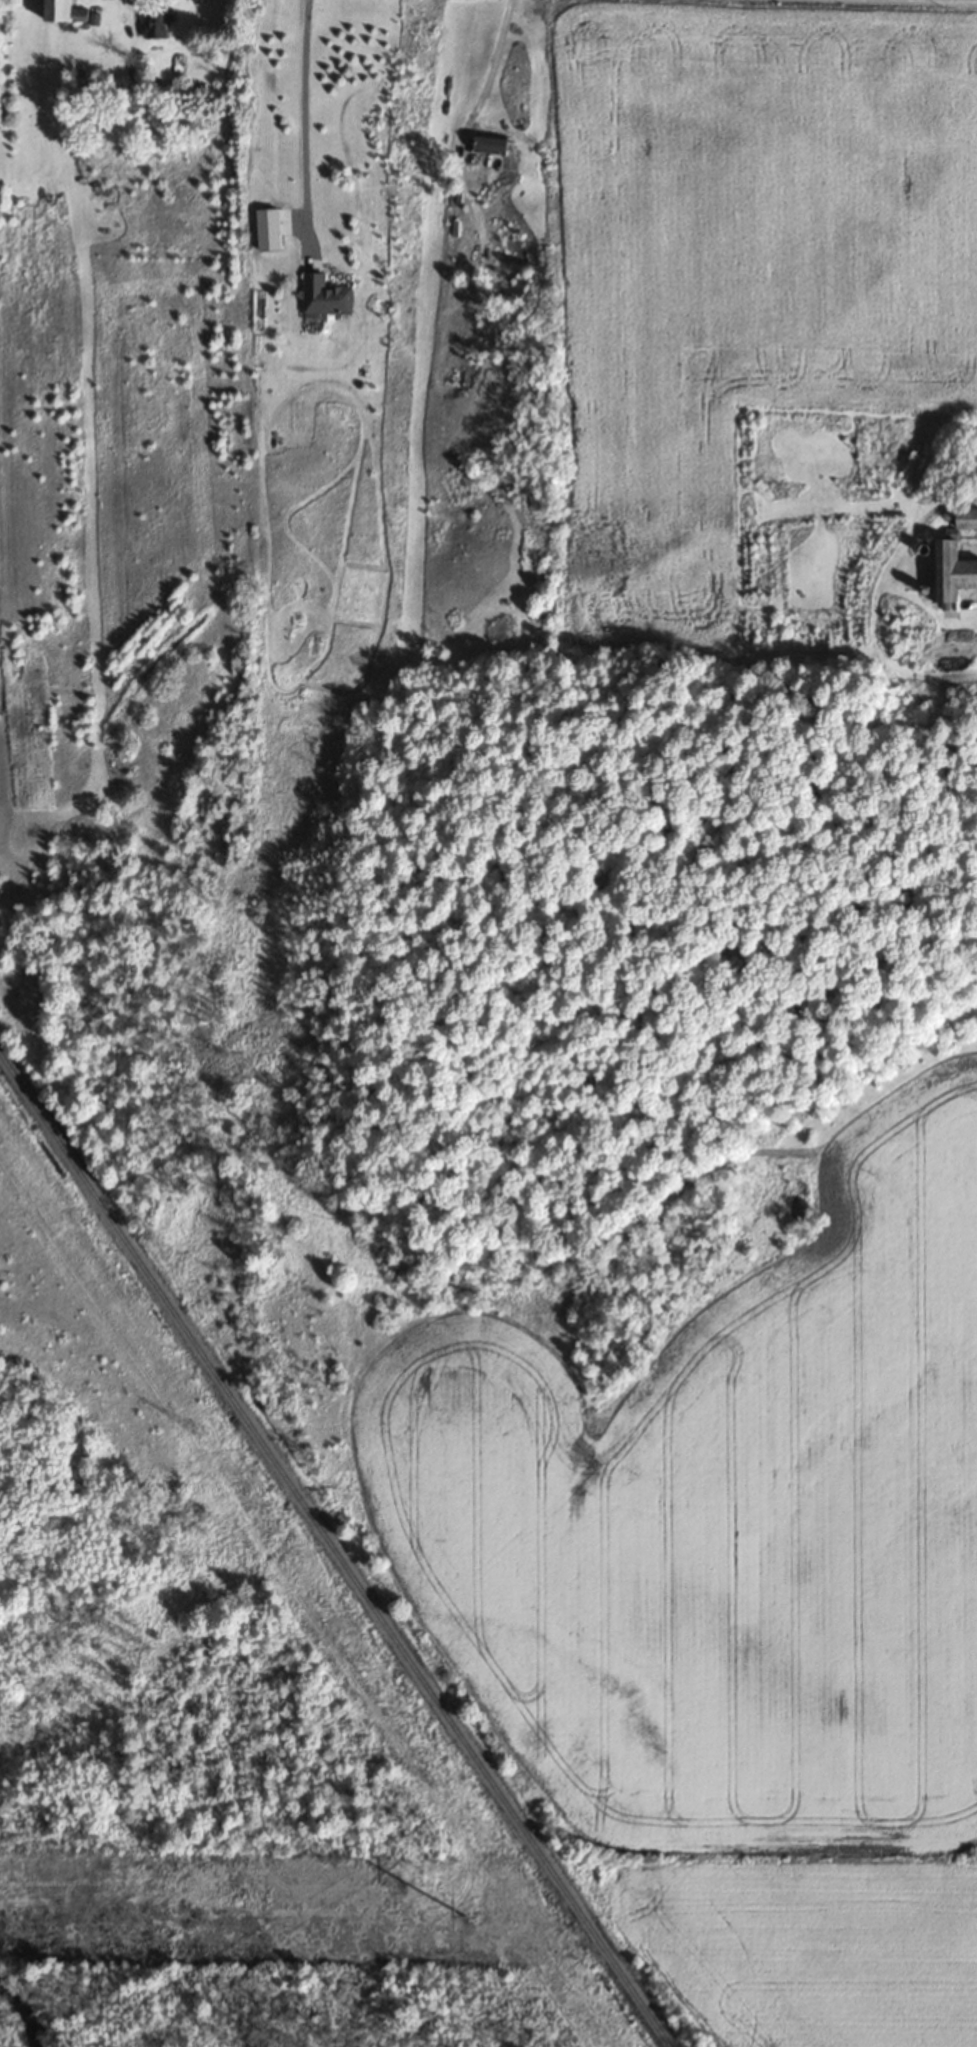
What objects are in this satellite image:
building: (69, 10)
building: (158, 20)
road: (489, 69)
road: (294, 125)
building: (485, 143)
building: (322, 295)
building: (965, 475)
building: (963, 518)
building: (949, 576)
building: (569, 1119)
railway: (333, 1549)
power tower: (471, 1907)
river: (18, 2019)

